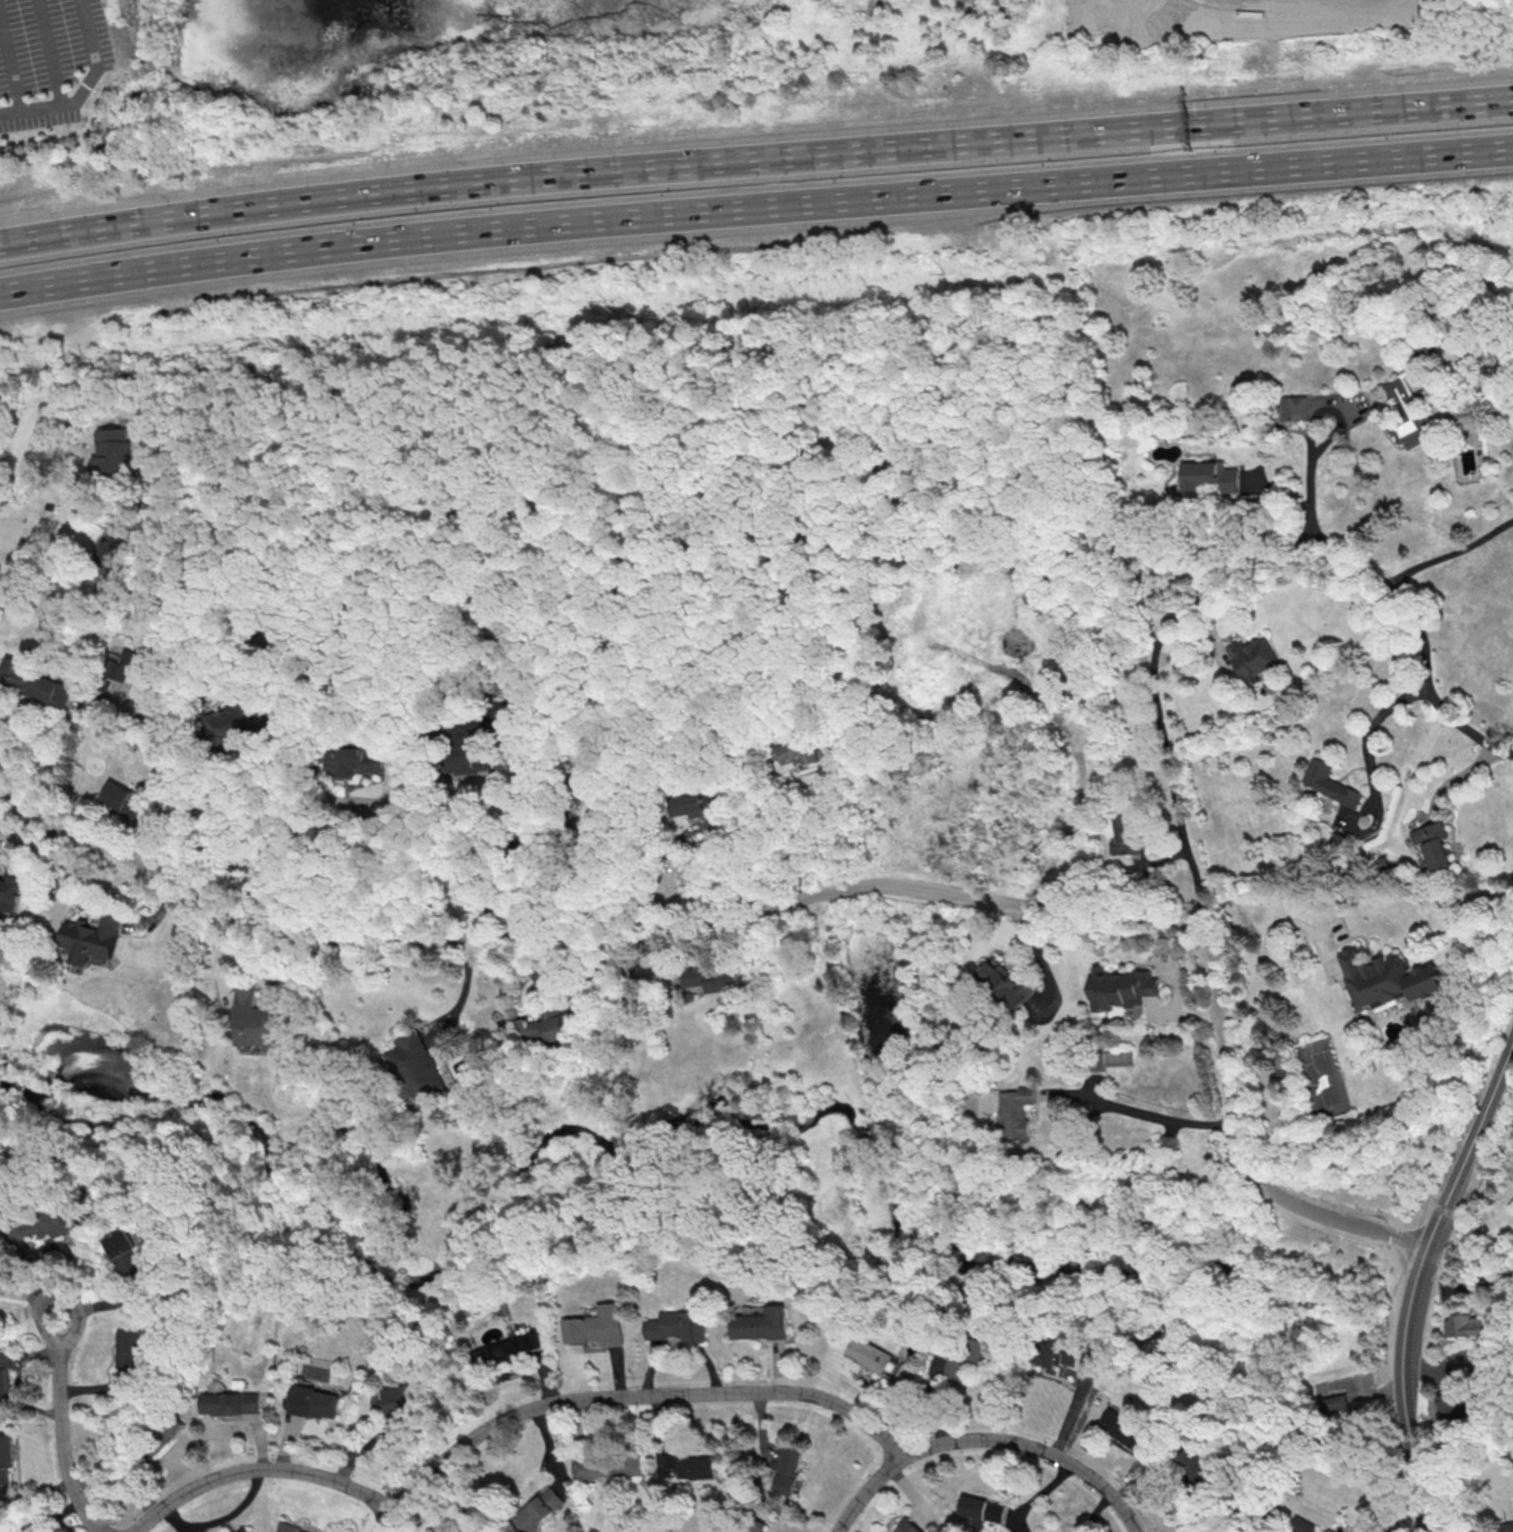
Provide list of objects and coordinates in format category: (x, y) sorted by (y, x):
road: (49, 53)
road: (12, 65)
road: (83, 86)
road: (755, 160)
road: (755, 209)
road: (703, 363)
road: (424, 391)
building: (1295, 408)
building: (1408, 410)
building: (114, 453)
building: (1209, 477)
road: (1312, 477)
road: (1452, 555)
road: (1421, 642)
building: (1253, 655)
road: (167, 663)
building: (35, 682)
road: (1155, 696)
building: (229, 721)
road: (1371, 728)
road: (1071, 741)
road: (45, 742)
building: (464, 751)
building: (797, 753)
building: (1329, 782)
building: (122, 799)
building: (699, 801)
road: (260, 813)
road: (519, 820)
road: (810, 823)
building: (1125, 835)
building: (1433, 845)
road: (715, 857)
road: (369, 858)
road: (558, 881)
building: (9, 891)
road: (807, 897)
building: (88, 938)
road: (1261, 959)
building: (710, 977)
building: (1388, 979)
building: (1008, 984)
building: (1124, 989)
road: (464, 991)
building: (254, 1021)
building: (545, 1028)
building: (416, 1070)
building: (1019, 1112)
road: (1146, 1114)
building: (1168, 1141)
road: (1484, 1144)
road: (1446, 1210)
building: (63, 1223)
building: (124, 1252)
road: (1417, 1284)
building: (762, 1323)
building: (602, 1326)
building: (680, 1326)
building: (130, 1348)
building: (512, 1350)
building: (870, 1353)
building: (1064, 1355)
road: (1393, 1356)
building: (959, 1367)
building: (906, 1375)
building: (404, 1400)
building: (315, 1402)
building: (1336, 1402)
building: (230, 1403)
building: (1453, 1403)
road: (504, 1421)
road: (64, 1429)
building: (1125, 1429)
road: (987, 1439)
building: (7, 1451)
building: (696, 1465)
building: (611, 1468)
building: (790, 1470)
building: (539, 1509)
building: (982, 1510)
road: (392, 1519)
building: (1305, 1525)
building: (909, 1527)
building: (1509, 1527)
building: (291, 1529)
building: (246, 1530)
building: (741, 1531)

